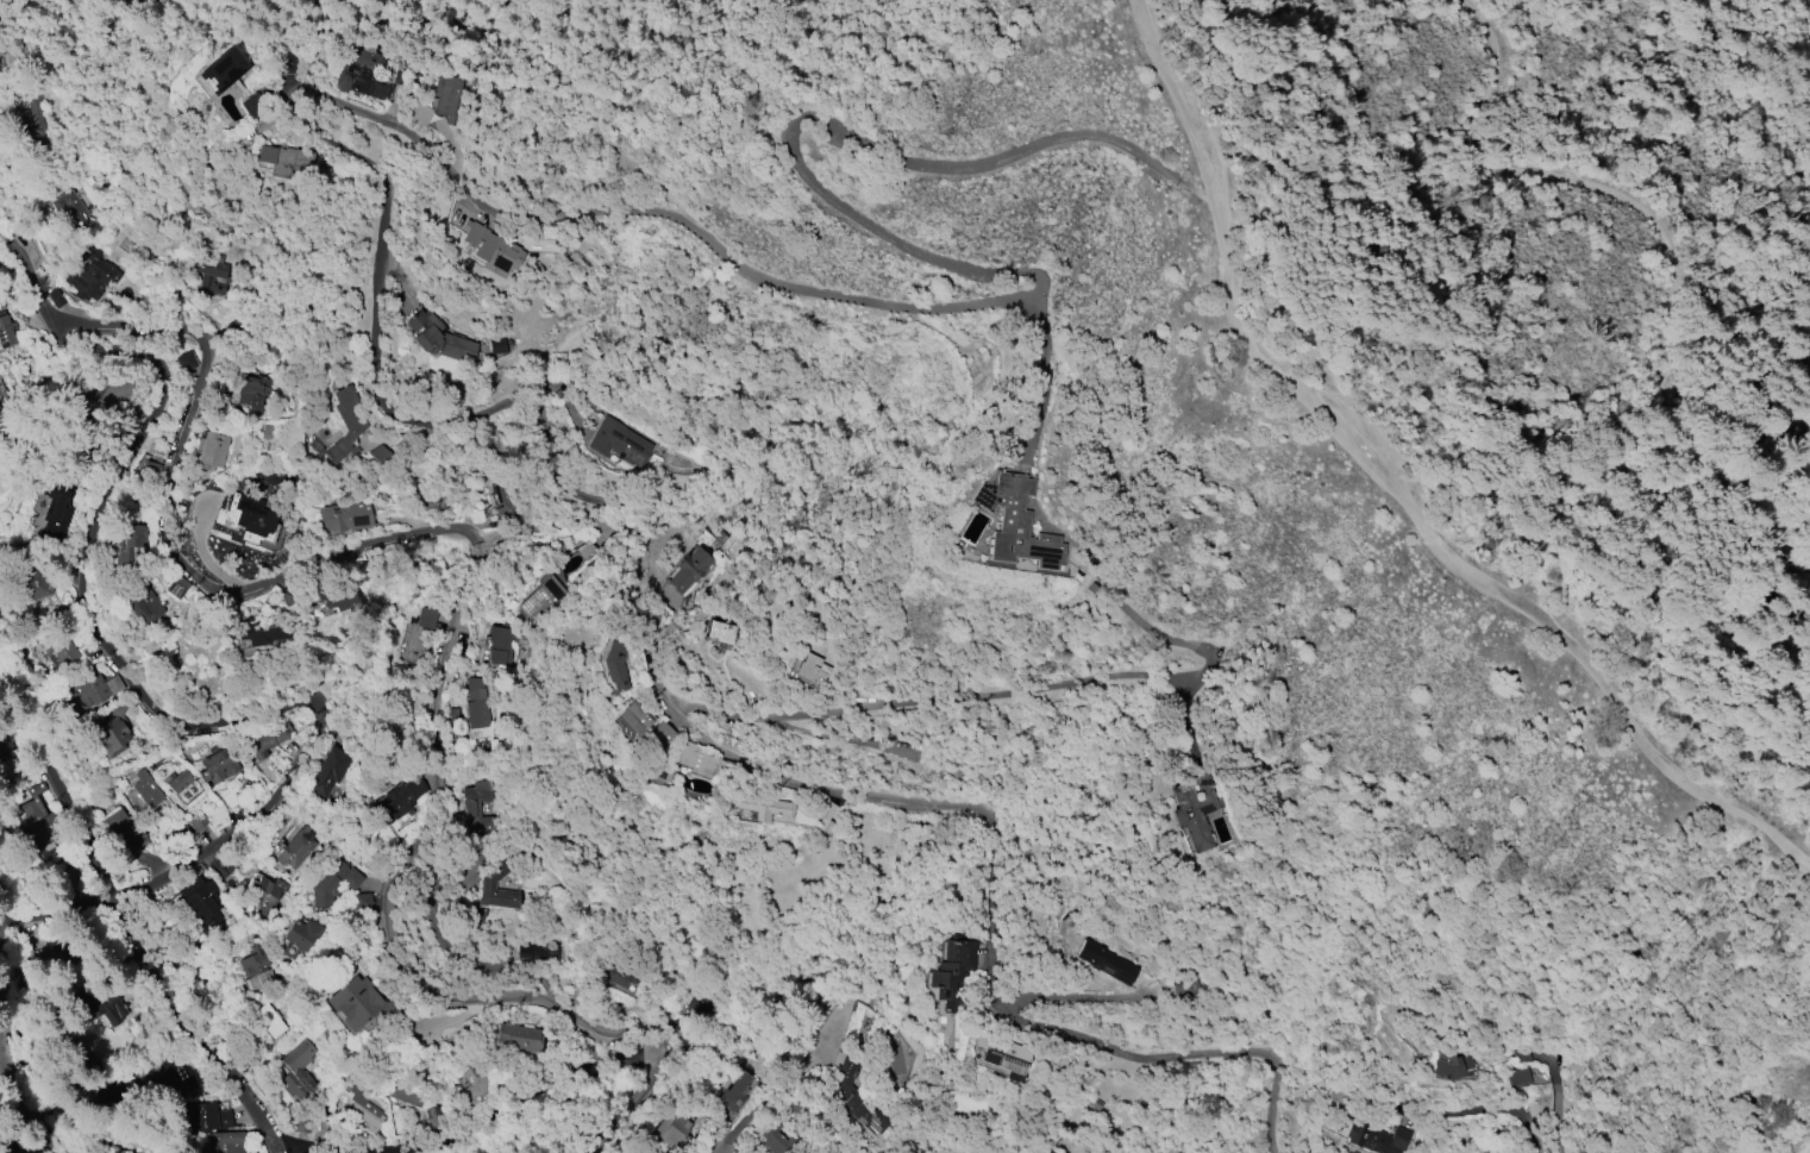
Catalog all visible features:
building: (133, 5)
building: (284, 63)
building: (221, 70)
building: (362, 75)
building: (447, 96)
road: (1721, 100)
building: (420, 114)
building: (32, 121)
building: (283, 159)
building: (69, 207)
road: (634, 213)
road: (1668, 227)
building: (489, 247)
building: (207, 275)
building: (89, 276)
building: (6, 332)
building: (437, 337)
building: (496, 345)
building: (188, 365)
road: (1053, 370)
building: (249, 391)
building: (105, 393)
road: (1453, 395)
building: (350, 416)
building: (620, 441)
building: (211, 451)
building: (152, 472)
road: (176, 484)
road: (1396, 484)
building: (58, 506)
building: (214, 513)
building: (344, 515)
building: (246, 519)
building: (1016, 521)
building: (130, 545)
building: (689, 569)
building: (32, 584)
building: (541, 597)
building: (142, 600)
building: (336, 601)
road: (1144, 625)
building: (719, 631)
building: (258, 633)
building: (417, 635)
building: (499, 645)
building: (58, 651)
building: (616, 660)
building: (809, 669)
building: (92, 690)
road: (1039, 690)
building: (477, 701)
road: (176, 718)
road: (768, 718)
building: (634, 719)
road: (375, 727)
building: (109, 728)
building: (660, 734)
building: (270, 742)
building: (695, 760)
building: (218, 765)
building: (328, 771)
building: (659, 771)
building: (180, 784)
building: (142, 791)
building: (397, 800)
building: (765, 807)
building: (1192, 810)
building: (478, 812)
building: (40, 816)
building: (196, 821)
building: (124, 831)
building: (294, 848)
building: (489, 878)
building: (332, 884)
road: (389, 888)
building: (264, 896)
building: (198, 901)
building: (362, 901)
road: (112, 915)
road: (994, 926)
building: (300, 938)
building: (532, 952)
building: (256, 963)
building: (1107, 963)
building: (952, 972)
building: (613, 973)
building: (100, 1003)
building: (359, 1004)
building: (270, 1020)
building: (865, 1026)
road: (5, 1034)
building: (518, 1038)
building: (1003, 1055)
building: (1449, 1065)
building: (296, 1072)
building: (1520, 1076)
building: (173, 1077)
building: (476, 1082)
building: (735, 1090)
road: (522, 1094)
building: (403, 1096)
building: (853, 1099)
road: (775, 1104)
building: (361, 1107)
road: (632, 1107)
road: (1552, 1109)
road: (1484, 1111)
building: (203, 1116)
building: (675, 1128)
building: (1373, 1138)
building: (779, 1139)
building: (226, 1142)
building: (11, 1148)
road: (726, 1149)
road: (325, 1151)

